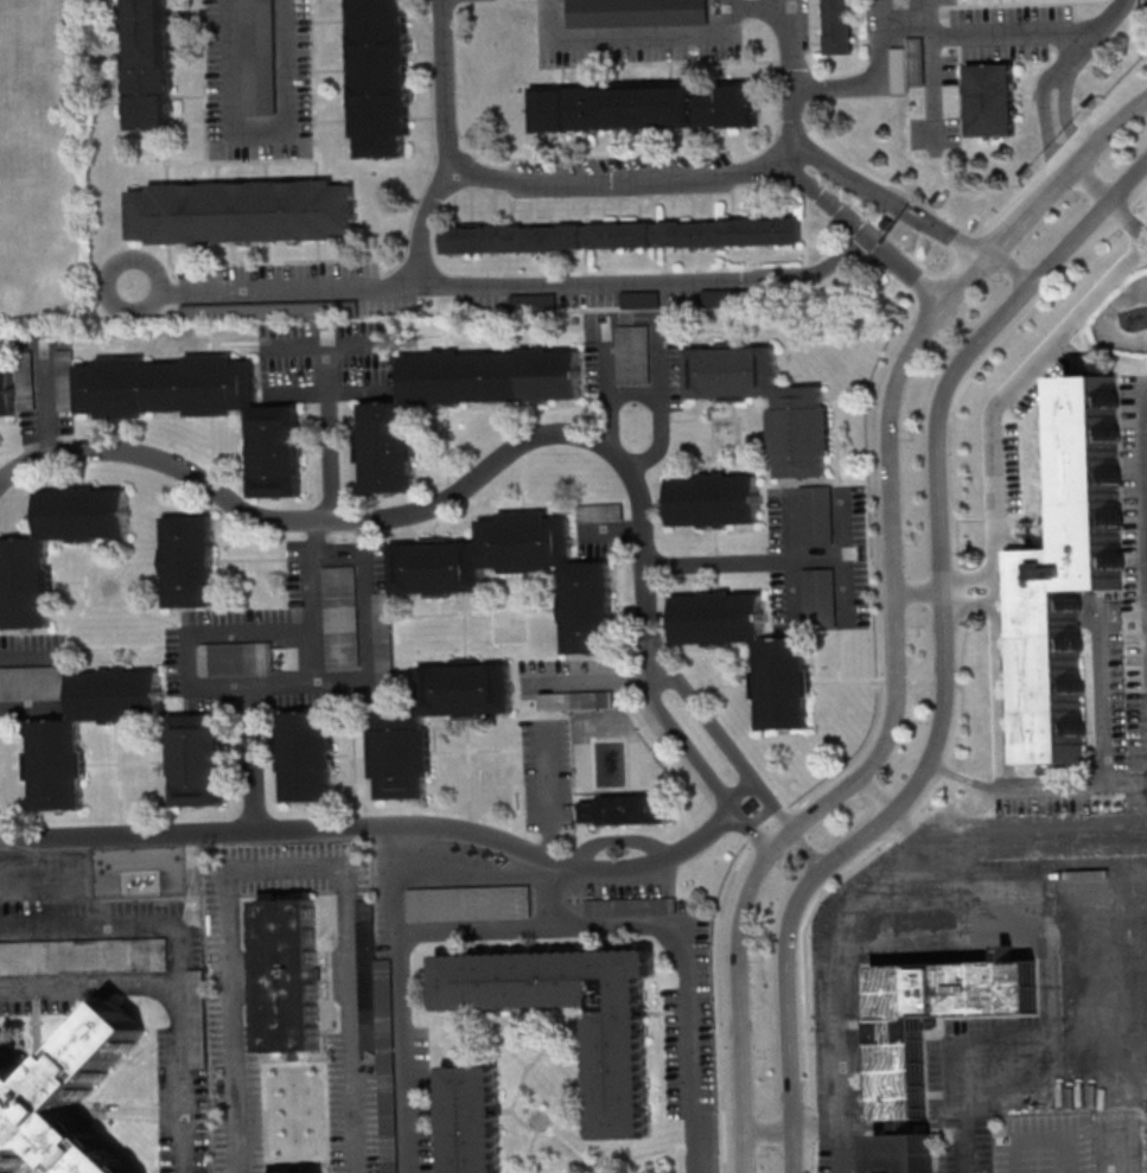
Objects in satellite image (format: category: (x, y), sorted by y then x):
road: (724, 5)
road: (758, 7)
road: (931, 9)
building: (637, 13)
road: (904, 21)
building: (839, 27)
road: (1008, 33)
road: (1095, 34)
road: (633, 36)
building: (257, 57)
road: (1145, 59)
building: (148, 64)
building: (380, 76)
road: (792, 81)
road: (877, 83)
road: (444, 84)
building: (990, 100)
building: (645, 106)
road: (1068, 115)
road: (1045, 119)
road: (261, 127)
road: (482, 173)
road: (642, 179)
road: (1092, 186)
road: (888, 198)
building: (242, 211)
road: (422, 221)
road: (1127, 225)
road: (896, 230)
road: (859, 231)
building: (622, 235)
road: (1009, 273)
road: (508, 283)
building: (726, 298)
building: (639, 300)
building: (534, 302)
road: (1031, 308)
building: (269, 311)
road: (654, 318)
building: (65, 380)
building: (26, 382)
building: (6, 391)
building: (455, 400)
building: (199, 407)
building: (799, 432)
road: (1143, 444)
road: (329, 461)
road: (994, 485)
building: (713, 501)
road: (420, 511)
building: (815, 515)
building: (24, 557)
building: (189, 561)
road: (771, 565)
building: (1075, 568)
building: (516, 572)
road: (970, 578)
road: (847, 585)
road: (917, 593)
building: (818, 595)
road: (891, 597)
road: (970, 607)
building: (342, 617)
road: (365, 626)
road: (200, 632)
road: (944, 639)
road: (318, 645)
road: (26, 655)
building: (235, 659)
road: (590, 674)
road: (850, 681)
road: (894, 681)
road: (919, 681)
road: (945, 681)
building: (32, 682)
building: (783, 682)
building: (554, 701)
road: (1100, 702)
road: (27, 706)
building: (403, 729)
building: (56, 739)
road: (728, 742)
building: (306, 758)
building: (195, 760)
road: (700, 764)
road: (253, 770)
road: (1036, 789)
road: (741, 790)
road: (874, 793)
road: (547, 798)
building: (623, 809)
road: (962, 818)
road: (906, 823)
road: (378, 828)
road: (1012, 846)
road: (809, 849)
road: (282, 865)
road: (473, 867)
road: (724, 895)
building: (467, 904)
building: (630, 907)
road: (477, 930)
road: (692, 952)
building: (84, 956)
road: (174, 961)
road: (831, 964)
building: (288, 973)
road: (88, 982)
road: (1052, 990)
road: (402, 1000)
building: (377, 1024)
road: (244, 1031)
road: (337, 1031)
road: (975, 1035)
building: (901, 1069)
building: (618, 1076)
building: (64, 1098)
building: (473, 1118)
road: (839, 1126)
road: (1038, 1129)
road: (767, 1133)
road: (741, 1153)
road: (795, 1153)
building: (304, 1172)

